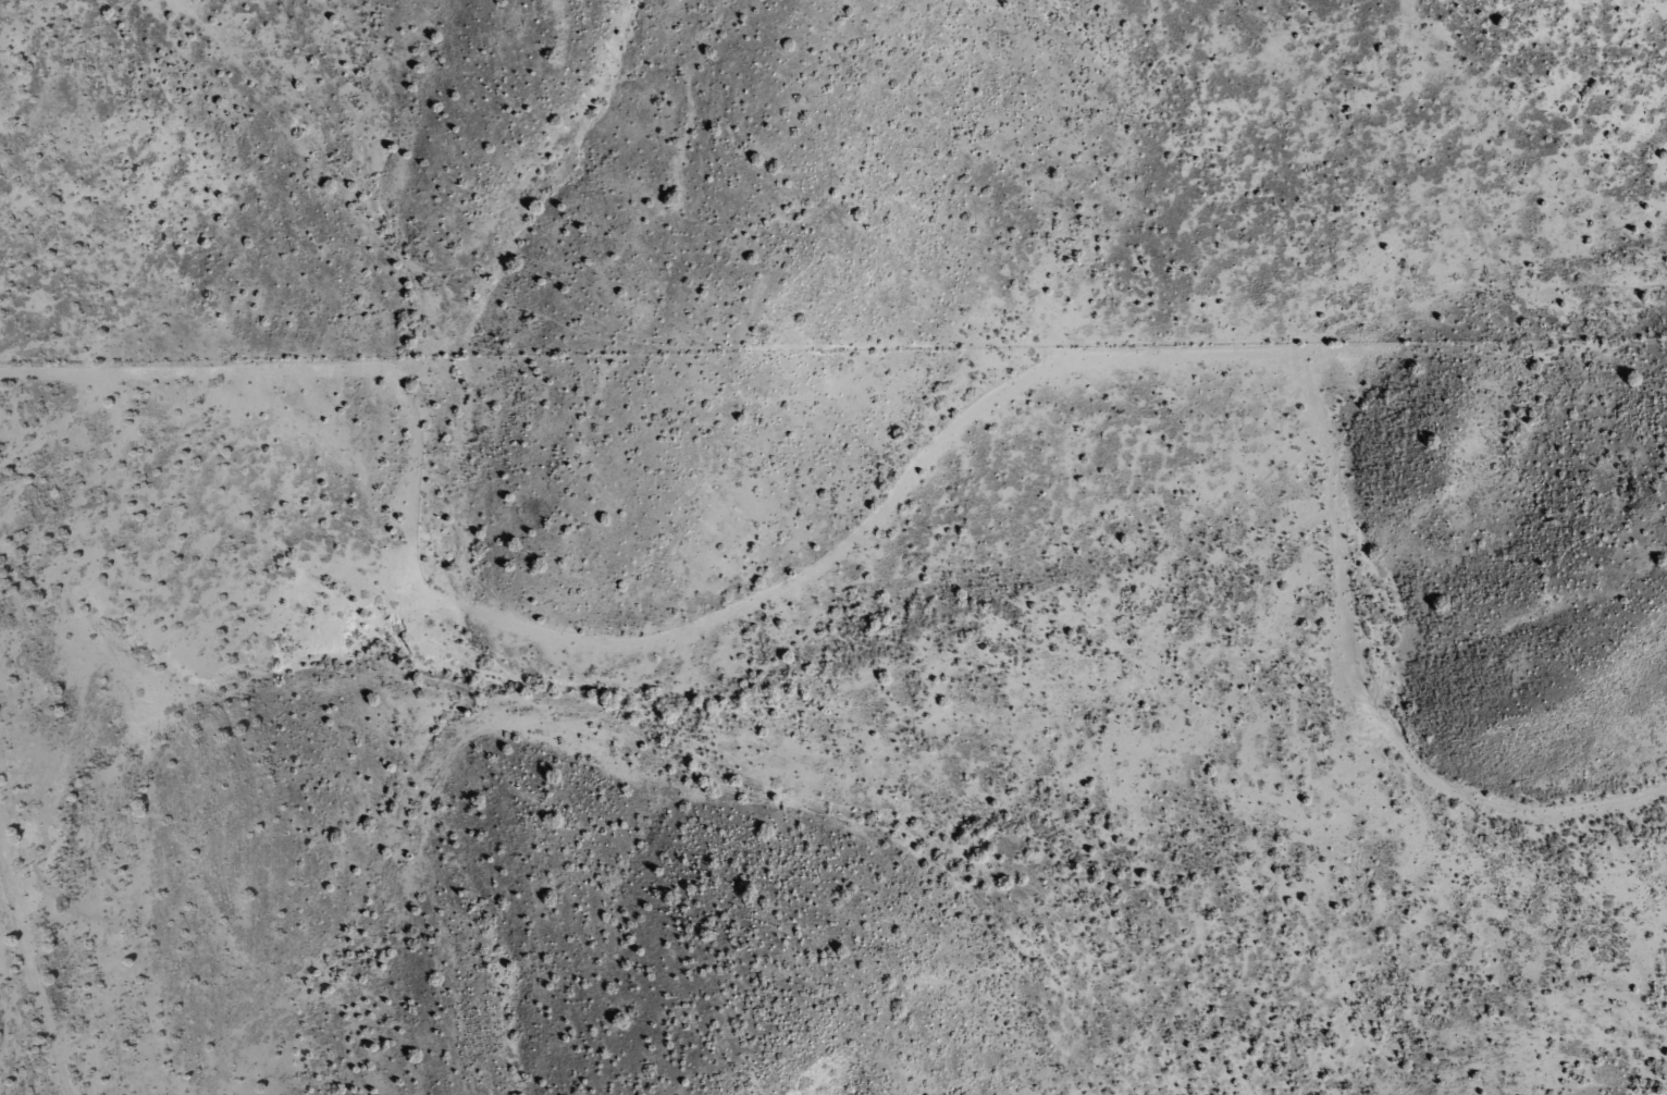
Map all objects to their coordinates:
road: (47, 945)

